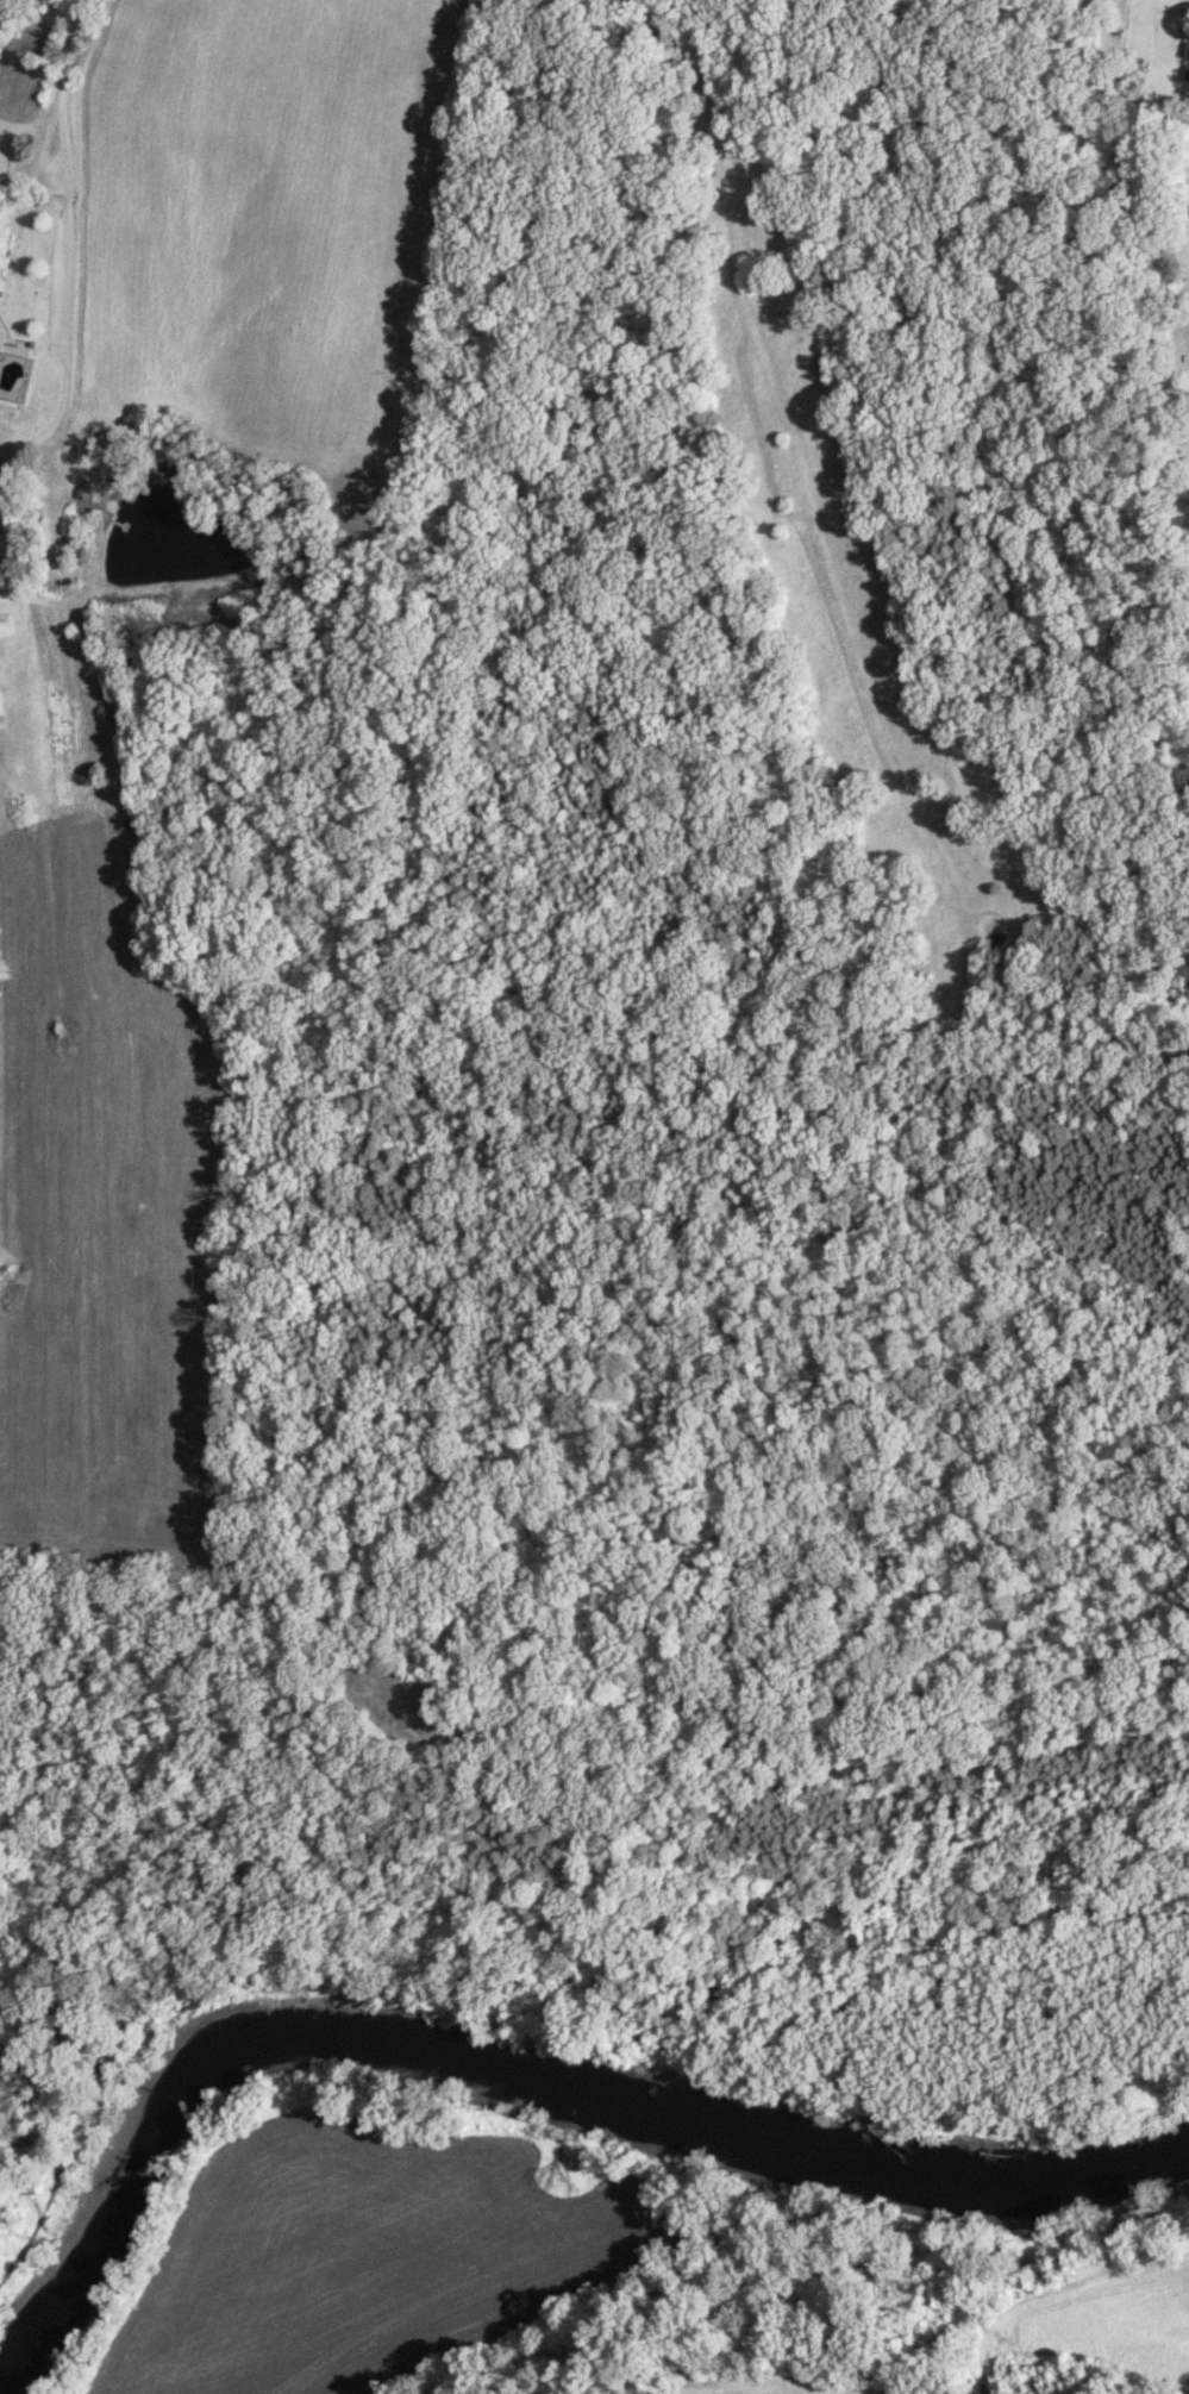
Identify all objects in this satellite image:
building: (1187, 46)
road: (67, 85)
road: (64, 310)

